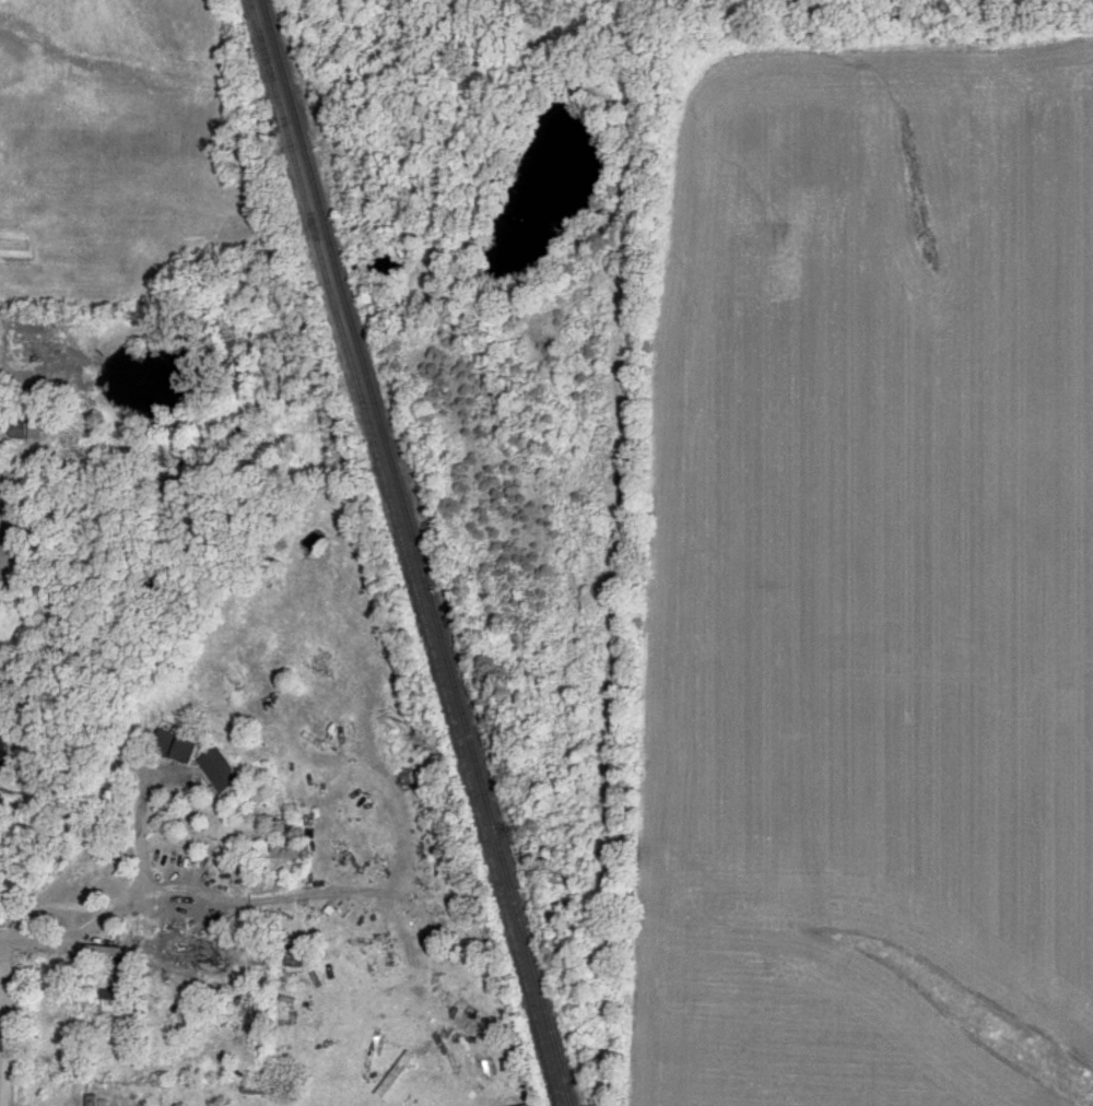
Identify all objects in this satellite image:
building: (25, 430)
railway: (402, 553)
railway: (415, 553)
building: (176, 746)
building: (218, 772)
road: (140, 879)
road: (265, 901)
building: (196, 950)
building: (108, 1000)
road: (7, 1040)
building: (92, 1101)

